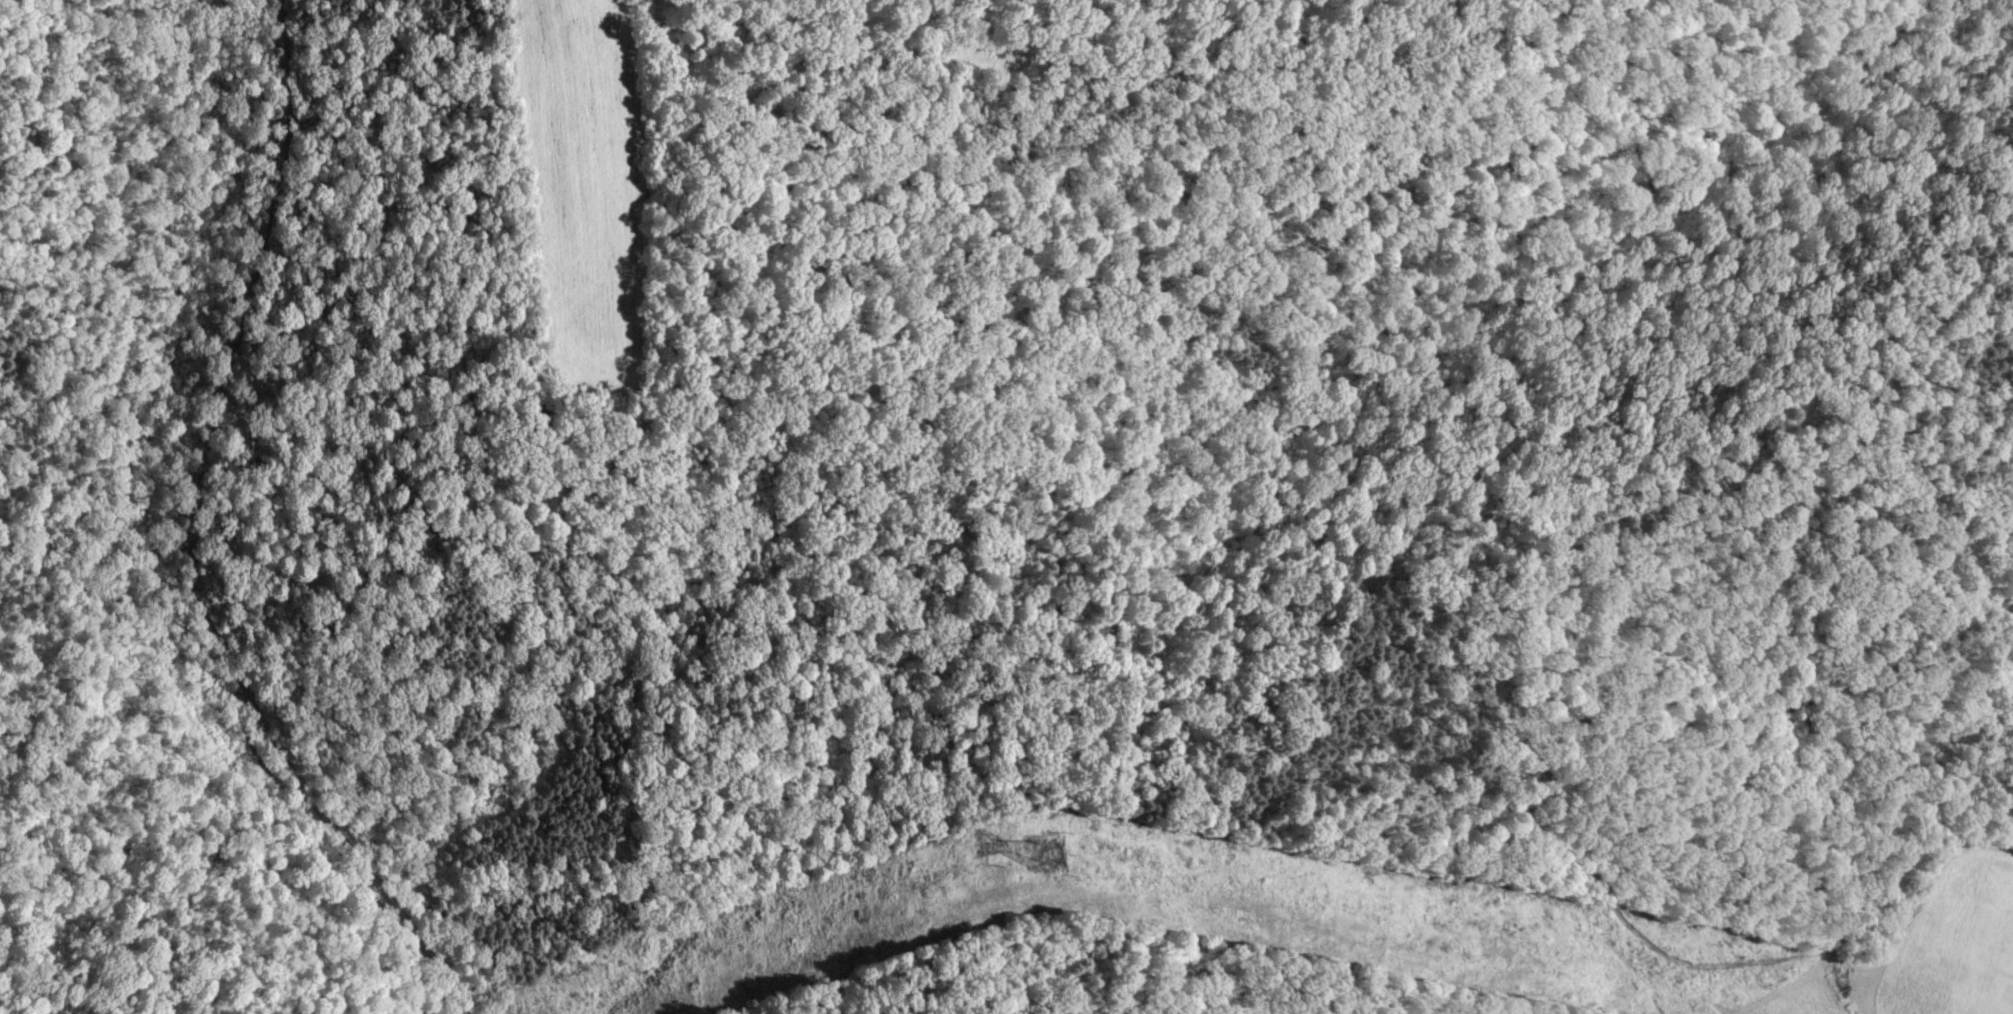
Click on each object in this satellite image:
road: (186, 554)
power tower: (1047, 855)
crop: (1938, 943)

